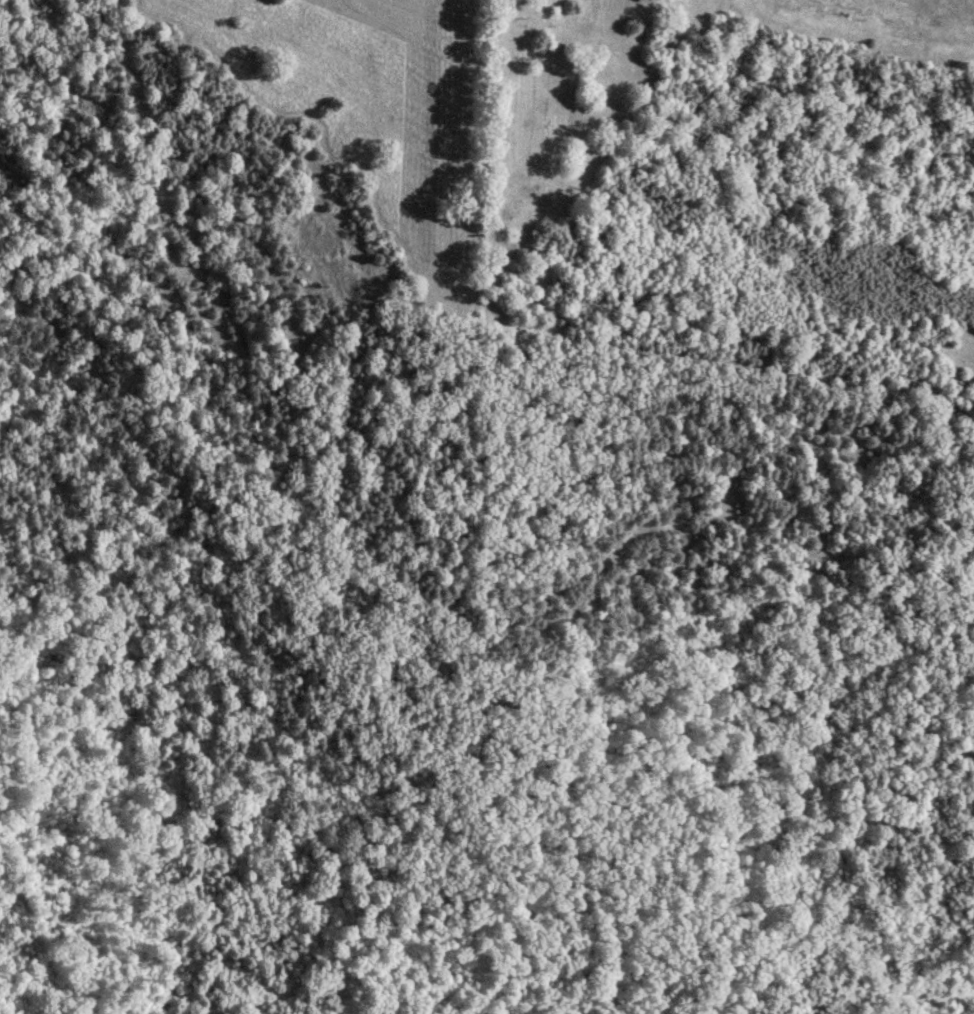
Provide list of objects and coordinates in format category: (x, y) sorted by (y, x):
building: (537, 1)

